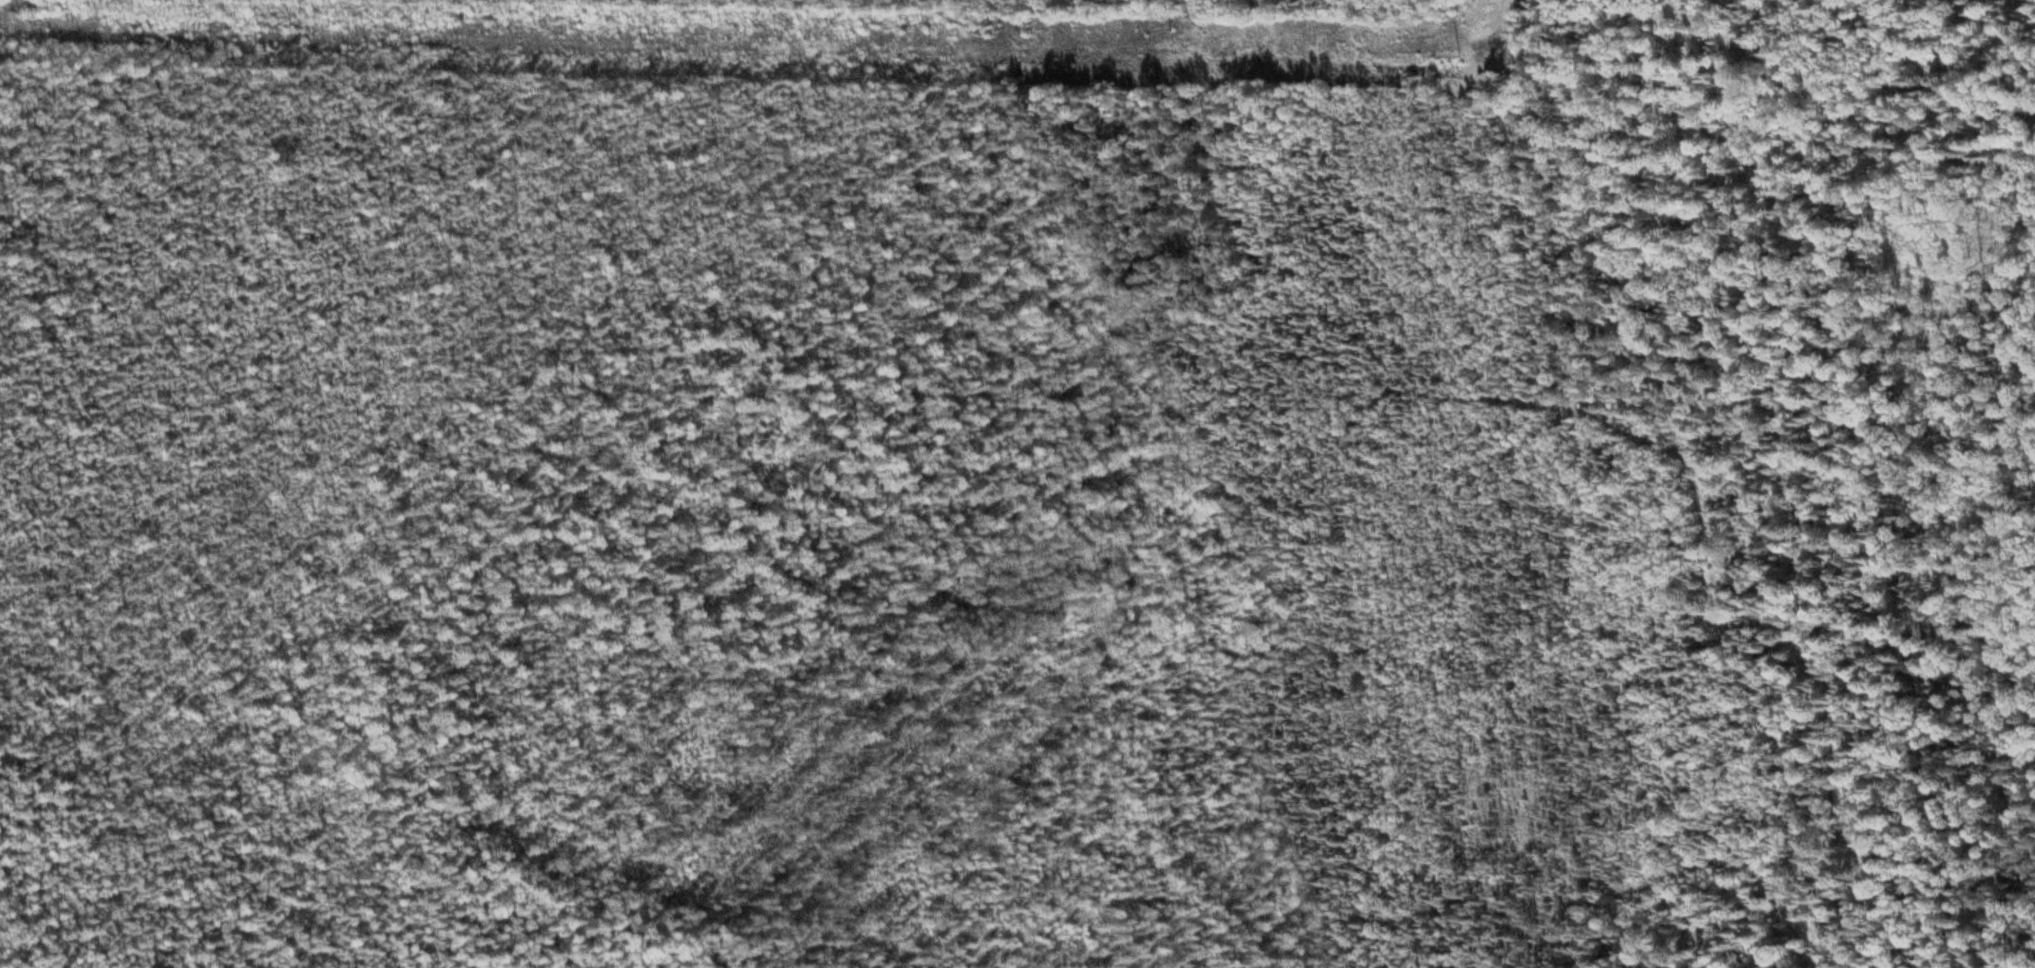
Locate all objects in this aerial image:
road: (1771, 451)

